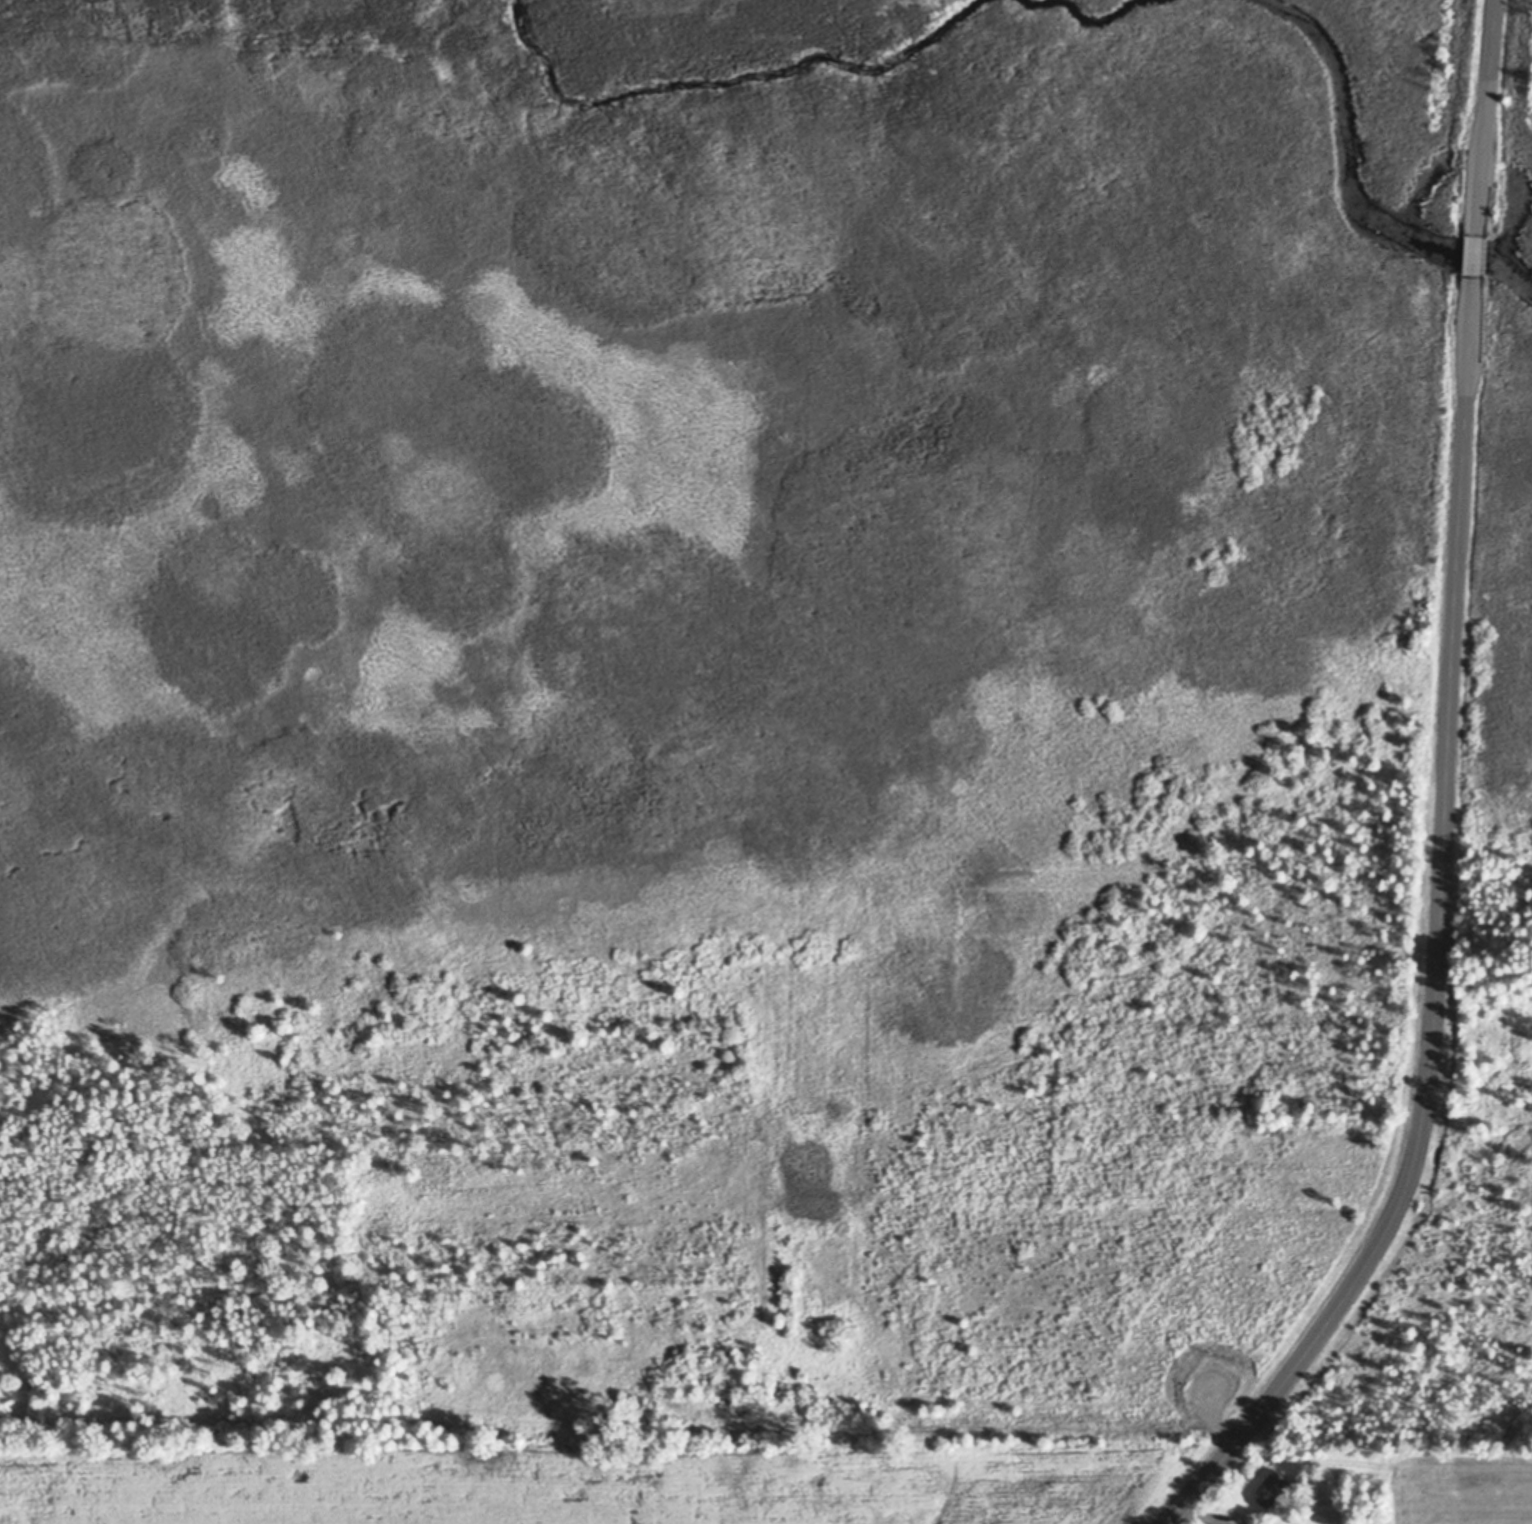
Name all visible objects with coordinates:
river: (1079, 16)
river: (729, 77)
road: (1486, 119)
river: (1353, 187)
road: (1475, 258)
road: (1441, 940)
building: (677, 1370)
building: (1141, 1421)
building: (1270, 1488)

